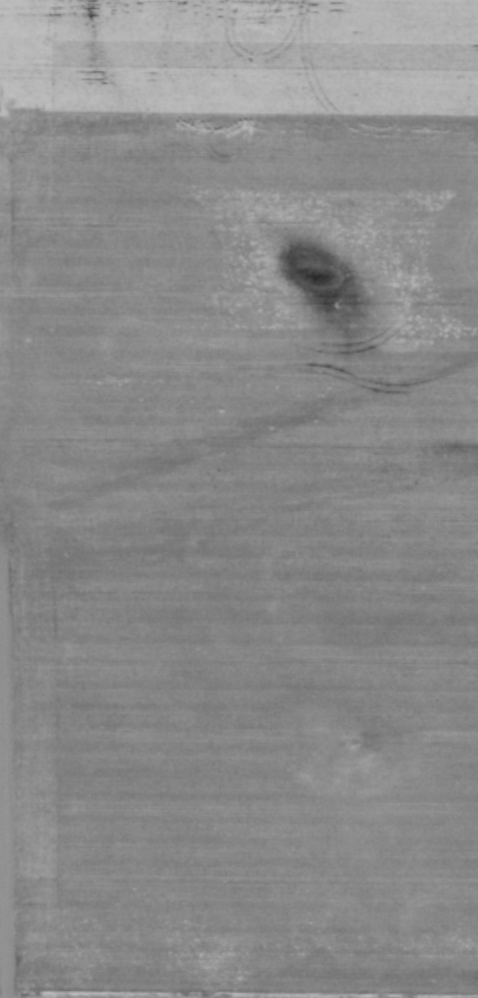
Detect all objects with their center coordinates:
road: (1, 857)

